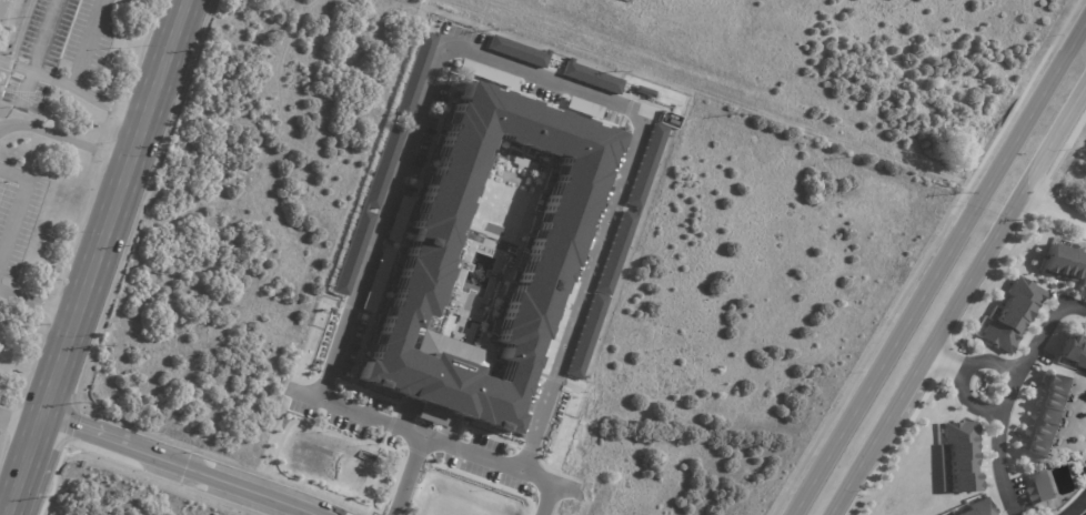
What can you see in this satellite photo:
road: (44, 39)
parking lot: (68, 42)
road: (84, 46)
building: (517, 50)
road: (448, 52)
building: (416, 72)
building: (592, 75)
road: (702, 90)
road: (76, 94)
road: (1038, 115)
road: (69, 139)
building: (646, 164)
building: (371, 201)
road: (1056, 211)
road: (18, 212)
parking lot: (18, 224)
building: (549, 255)
road: (104, 257)
building: (1066, 263)
building: (382, 264)
building: (567, 291)
building: (601, 294)
road: (41, 304)
road: (958, 311)
building: (1017, 320)
building: (550, 340)
road: (894, 352)
building: (1077, 353)
park: (13, 375)
road: (1018, 375)
building: (1049, 416)
road: (22, 427)
road: (999, 454)
building: (964, 458)
road: (182, 471)
road: (404, 477)
road: (547, 484)
building: (1043, 488)
road: (1076, 504)
building: (978, 511)

